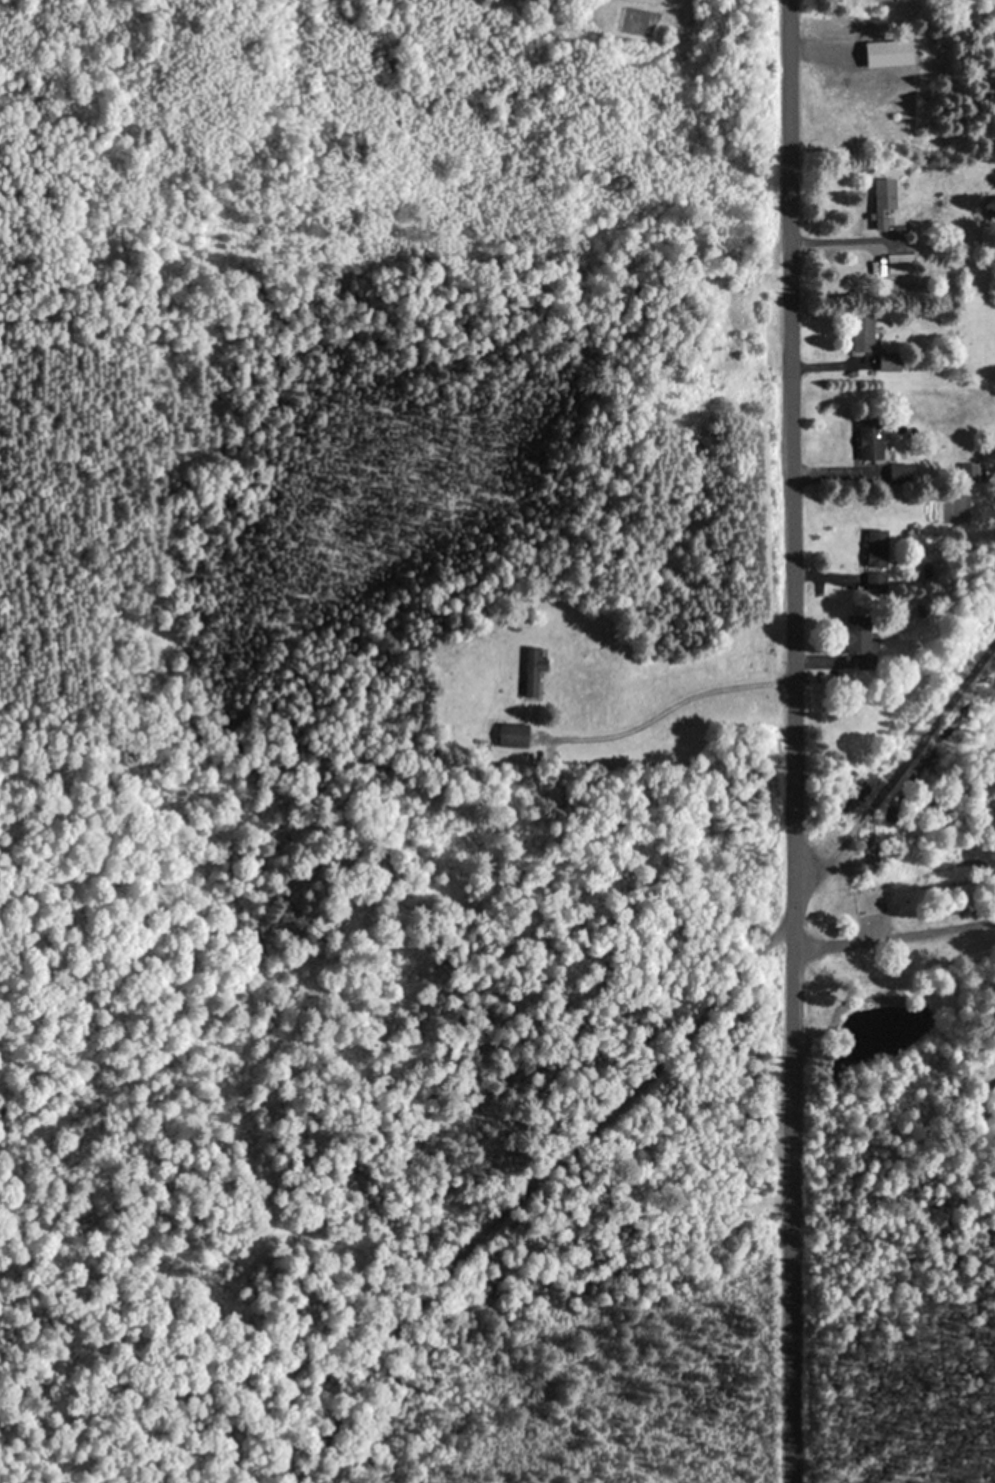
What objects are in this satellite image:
building: (888, 202)
building: (902, 263)
building: (866, 332)
building: (893, 361)
building: (873, 439)
road: (790, 453)
building: (974, 473)
building: (878, 549)
building: (876, 583)
building: (861, 636)
building: (537, 671)
building: (516, 735)
building: (875, 902)
road: (650, 1061)
road: (787, 1195)

